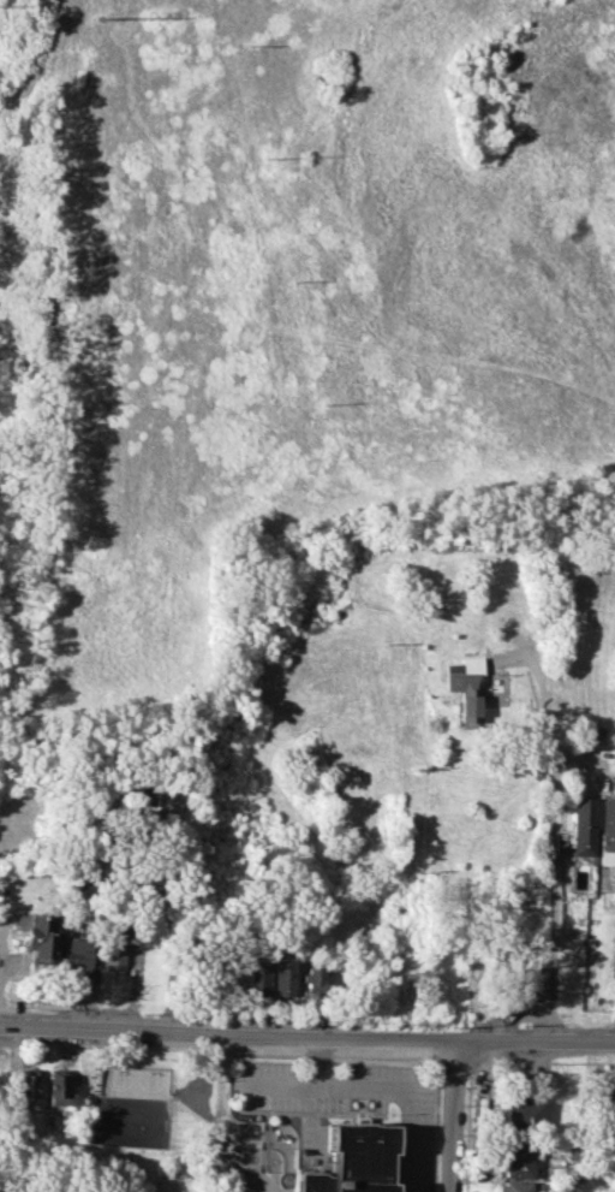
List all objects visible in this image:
power tower: (100, 16)
building: (466, 688)
building: (161, 808)
building: (585, 826)
building: (608, 832)
road: (549, 837)
building: (37, 936)
building: (79, 953)
building: (113, 956)
building: (258, 977)
building: (283, 977)
building: (312, 979)
building: (533, 982)
road: (306, 1037)
road: (392, 1083)
building: (59, 1087)
building: (26, 1089)
building: (603, 1091)
building: (521, 1113)
road: (454, 1116)
building: (350, 1160)
building: (517, 1160)
building: (512, 1186)
building: (243, 1191)

